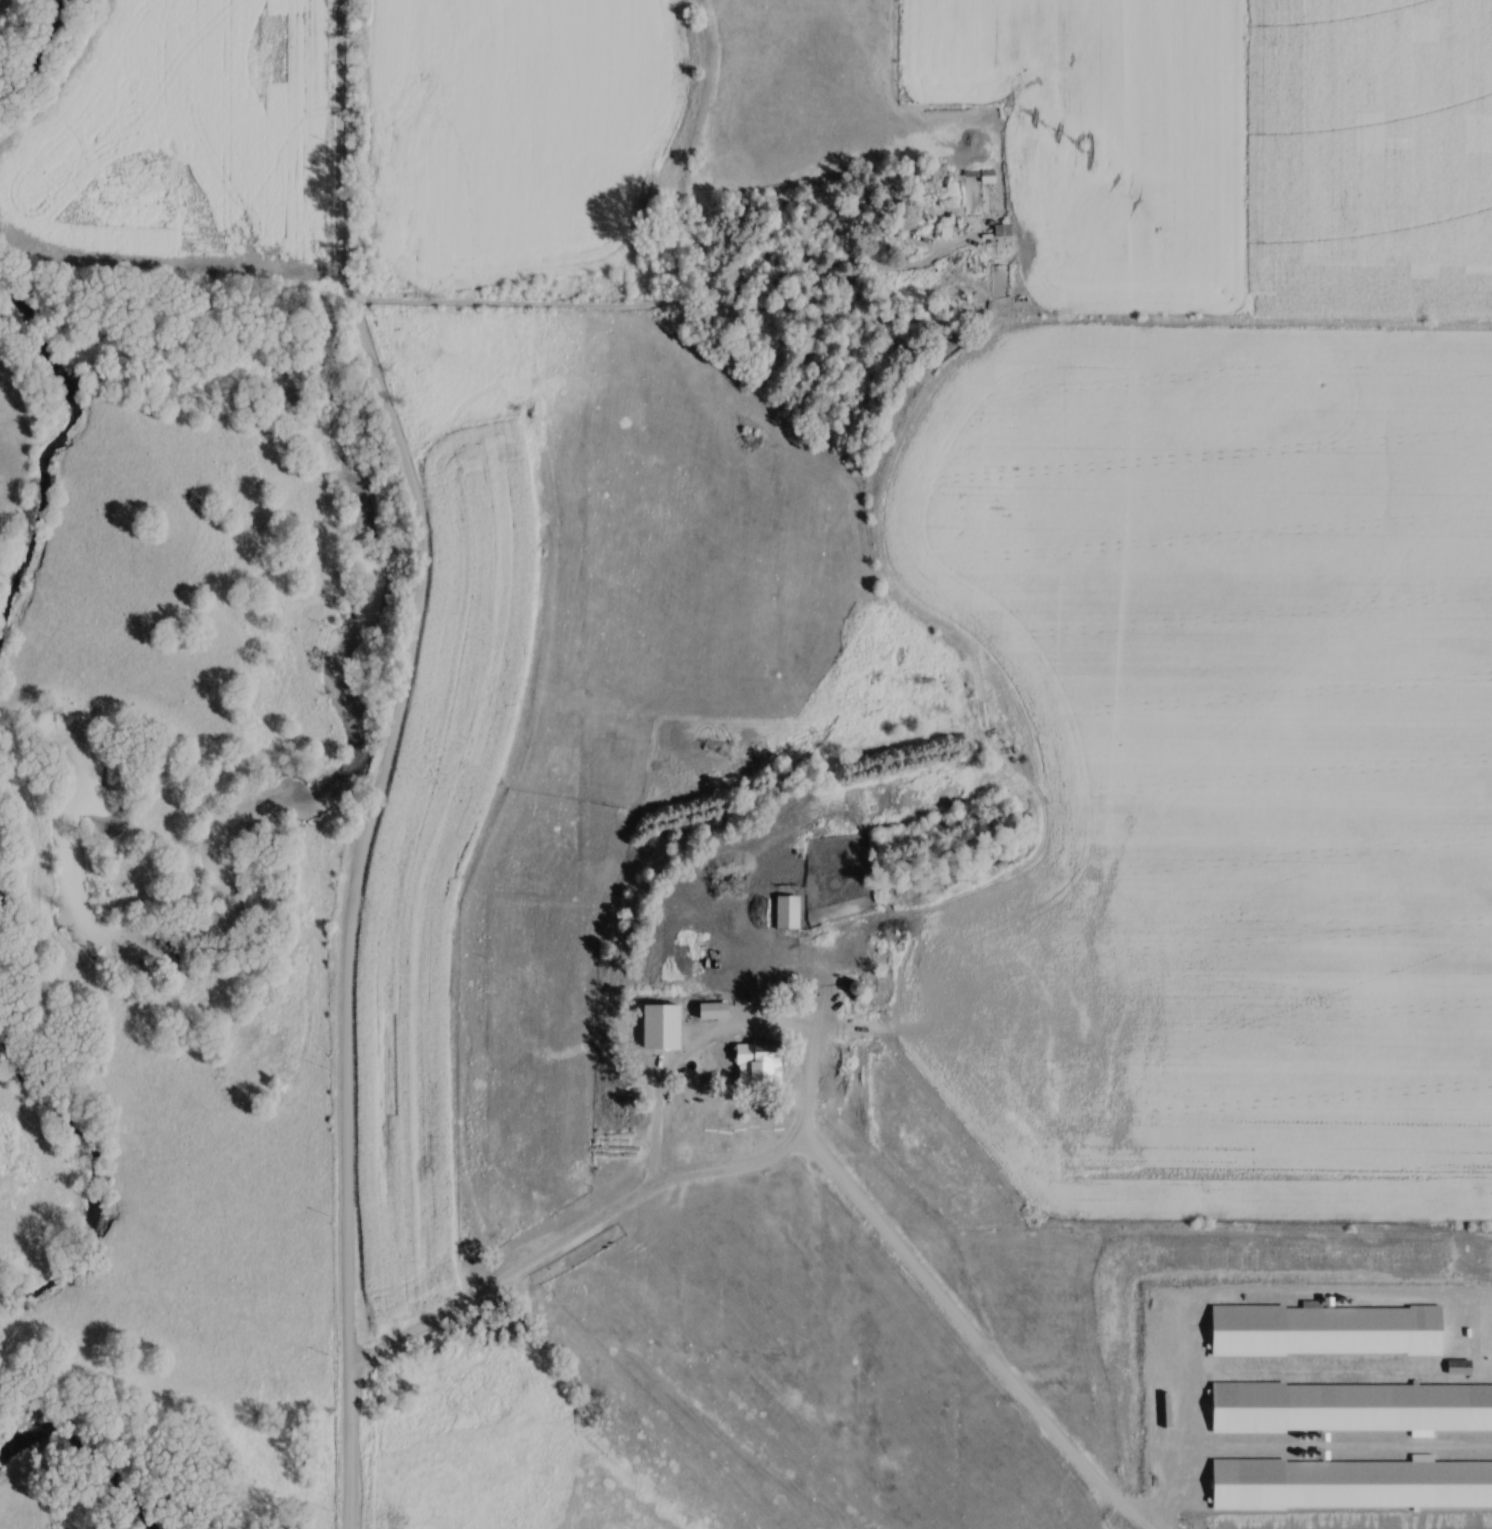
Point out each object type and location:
river: (44, 58)
building: (981, 175)
building: (902, 226)
road: (640, 308)
river: (37, 448)
road: (386, 759)
building: (789, 933)
building: (857, 953)
road: (775, 979)
building: (716, 1013)
building: (723, 1030)
road: (656, 1073)
building: (764, 1073)
river: (99, 1187)
road: (607, 1212)
river: (95, 1441)

